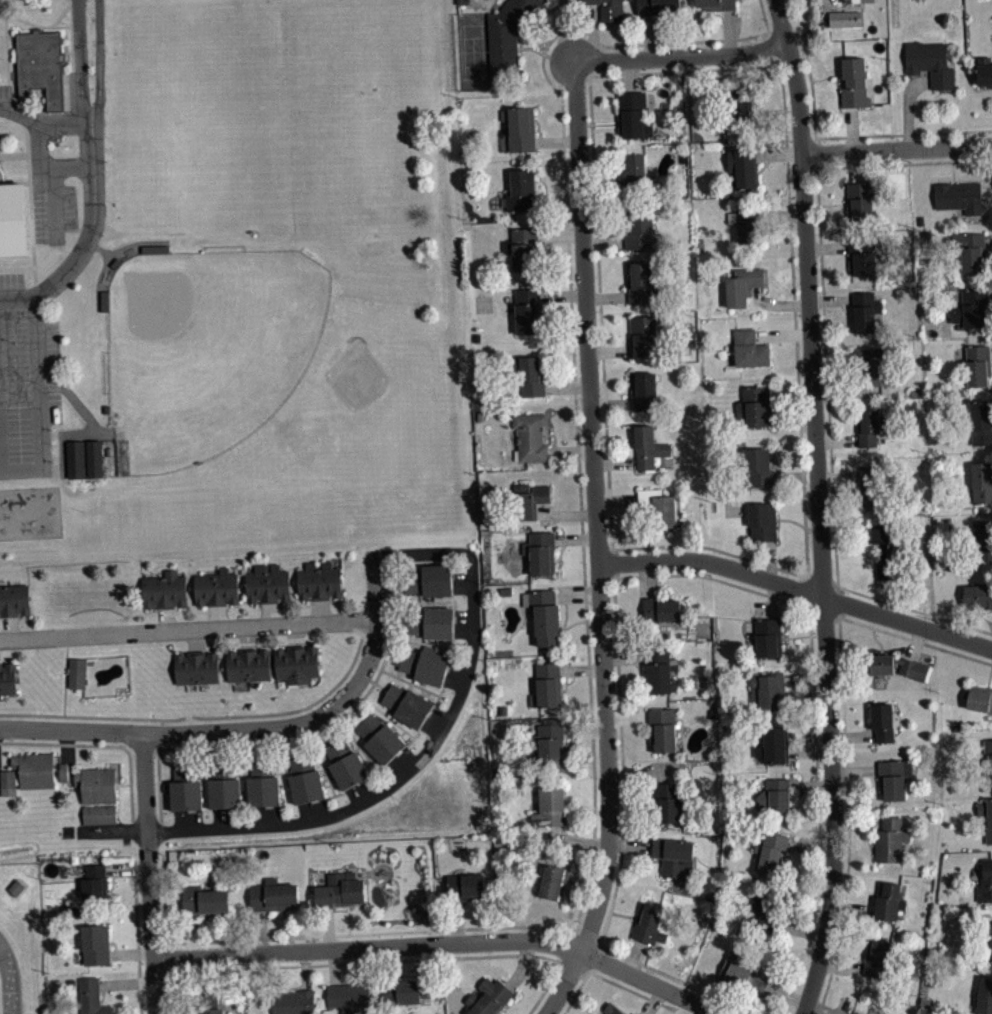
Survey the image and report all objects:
building: (589, 0)
building: (607, 0)
building: (857, 0)
building: (717, 3)
building: (657, 6)
building: (611, 10)
road: (764, 15)
building: (844, 18)
road: (70, 19)
road: (34, 25)
road: (728, 29)
road: (566, 30)
road: (647, 35)
building: (508, 36)
road: (594, 36)
road: (765, 46)
road: (6, 49)
park: (473, 50)
road: (680, 55)
road: (791, 60)
building: (930, 61)
building: (40, 64)
road: (98, 64)
road: (79, 65)
road: (743, 68)
building: (984, 69)
road: (629, 73)
road: (571, 79)
building: (855, 82)
road: (813, 96)
building: (739, 103)
road: (908, 107)
building: (633, 113)
park: (175, 116)
road: (44, 123)
building: (520, 127)
road: (851, 128)
road: (903, 133)
road: (556, 141)
flagpole: (66, 146)
road: (896, 148)
road: (819, 151)
road: (777, 152)
road: (19, 154)
street lamp: (106, 160)
road: (903, 162)
road: (66, 164)
building: (743, 164)
road: (853, 166)
building: (635, 172)
road: (47, 177)
road: (601, 184)
road: (986, 187)
building: (520, 189)
building: (959, 195)
building: (860, 199)
road: (556, 200)
road: (30, 207)
parking lot: (53, 209)
road: (781, 213)
building: (13, 220)
road: (91, 223)
building: (746, 223)
building: (638, 228)
road: (559, 232)
street lamp: (102, 234)
road: (603, 241)
road: (988, 241)
building: (521, 246)
road: (827, 247)
building: (969, 251)
building: (865, 255)
road: (16, 268)
building: (639, 282)
building: (740, 284)
road: (562, 295)
road: (606, 296)
road: (990, 297)
road: (17, 298)
road: (830, 298)
road: (777, 304)
building: (971, 308)
building: (528, 309)
building: (865, 310)
road: (782, 334)
building: (642, 337)
street lamp: (14, 339)
park: (207, 348)
building: (749, 348)
road: (609, 350)
road: (990, 351)
building: (875, 362)
building: (977, 365)
road: (574, 370)
building: (530, 374)
road: (827, 375)
parking lot: (26, 381)
road: (566, 386)
building: (643, 390)
road: (791, 392)
road: (846, 392)
road: (38, 402)
road: (611, 402)
building: (755, 404)
building: (981, 422)
building: (871, 425)
building: (530, 436)
road: (836, 440)
street lamp: (53, 443)
building: (648, 446)
road: (570, 450)
building: (84, 458)
road: (614, 461)
building: (758, 466)
road: (839, 474)
road: (795, 476)
building: (981, 482)
building: (872, 485)
road: (616, 499)
building: (529, 501)
building: (658, 506)
road: (818, 507)
road: (564, 514)
building: (762, 520)
road: (575, 537)
building: (983, 540)
road: (597, 544)
building: (886, 549)
building: (540, 552)
road: (806, 558)
road: (769, 560)
road: (616, 562)
road: (462, 572)
road: (649, 578)
road: (712, 578)
road: (397, 579)
building: (431, 579)
building: (320, 580)
building: (268, 583)
road: (462, 586)
building: (217, 587)
road: (797, 588)
building: (164, 590)
road: (577, 594)
building: (978, 596)
road: (887, 597)
building: (14, 599)
road: (771, 599)
road: (422, 600)
road: (473, 603)
road: (321, 609)
building: (660, 609)
road: (914, 609)
road: (464, 615)
building: (545, 616)
road: (166, 618)
building: (432, 622)
road: (188, 627)
road: (463, 630)
road: (295, 633)
building: (768, 637)
road: (195, 639)
road: (915, 639)
road: (422, 642)
road: (915, 642)
road: (623, 657)
road: (67, 661)
building: (297, 663)
building: (249, 664)
building: (424, 664)
building: (197, 667)
road: (458, 667)
building: (914, 668)
road: (581, 669)
building: (659, 669)
building: (77, 671)
building: (8, 677)
road: (805, 678)
road: (64, 679)
road: (410, 681)
road: (454, 681)
building: (546, 685)
building: (768, 690)
building: (980, 698)
road: (360, 699)
building: (408, 704)
road: (440, 713)
road: (209, 716)
road: (388, 716)
road: (627, 716)
building: (883, 721)
road: (433, 726)
road: (250, 728)
building: (662, 729)
road: (584, 730)
road: (161, 732)
road: (853, 735)
building: (379, 737)
building: (551, 742)
road: (104, 744)
road: (359, 744)
building: (772, 745)
road: (808, 750)
road: (621, 761)
building: (987, 761)
building: (346, 763)
road: (323, 764)
road: (854, 769)
building: (28, 771)
building: (63, 771)
road: (643, 772)
road: (283, 773)
road: (243, 776)
road: (817, 776)
road: (205, 777)
building: (66, 778)
building: (893, 778)
building: (305, 779)
building: (263, 783)
road: (811, 783)
building: (96, 784)
building: (224, 785)
building: (185, 787)
road: (159, 788)
road: (145, 793)
building: (775, 796)
building: (668, 801)
building: (549, 807)
building: (100, 813)
building: (986, 816)
road: (847, 817)
road: (859, 823)
road: (261, 825)
road: (577, 840)
building: (890, 840)
road: (630, 844)
road: (810, 847)
building: (770, 852)
building: (674, 856)
road: (127, 870)
road: (584, 878)
building: (553, 881)
building: (985, 882)
building: (94, 883)
building: (465, 886)
building: (341, 890)
building: (273, 895)
building: (204, 899)
building: (888, 900)
road: (852, 907)
building: (762, 911)
road: (456, 921)
building: (648, 923)
road: (328, 926)
road: (799, 928)
road: (260, 930)
road: (588, 932)
road: (191, 933)
road: (151, 934)
road: (325, 934)
road: (136, 936)
road: (152, 938)
road: (443, 943)
building: (95, 944)
road: (561, 945)
building: (990, 948)
road: (131, 953)
road: (170, 956)
road: (633, 956)
building: (876, 958)
road: (598, 959)
road: (342, 963)
road: (390, 963)
road: (643, 963)
building: (991, 963)
road: (334, 965)
road: (521, 965)
road: (841, 968)
road: (305, 969)
road: (571, 970)
building: (742, 973)
road: (205, 974)
track: (8, 981)
road: (126, 982)
road: (544, 988)
road: (630, 990)
building: (405, 991)
road: (576, 992)
road: (785, 993)
building: (984, 995)
building: (348, 996)
building: (91, 997)
building: (489, 997)
road: (653, 1001)
building: (294, 1002)
building: (208, 1004)
road: (820, 1008)
building: (612, 1009)
building: (634, 1013)
building: (854, 1013)

